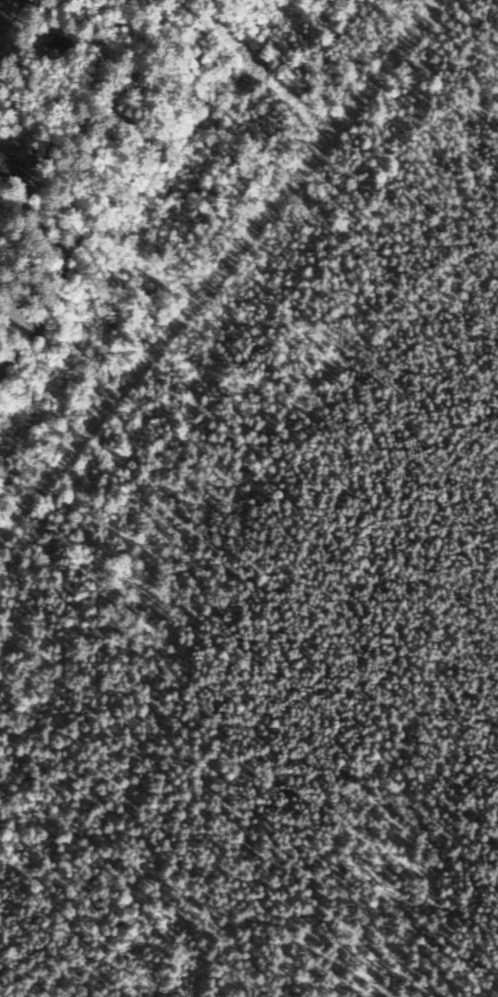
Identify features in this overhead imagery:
road: (57, 175)

